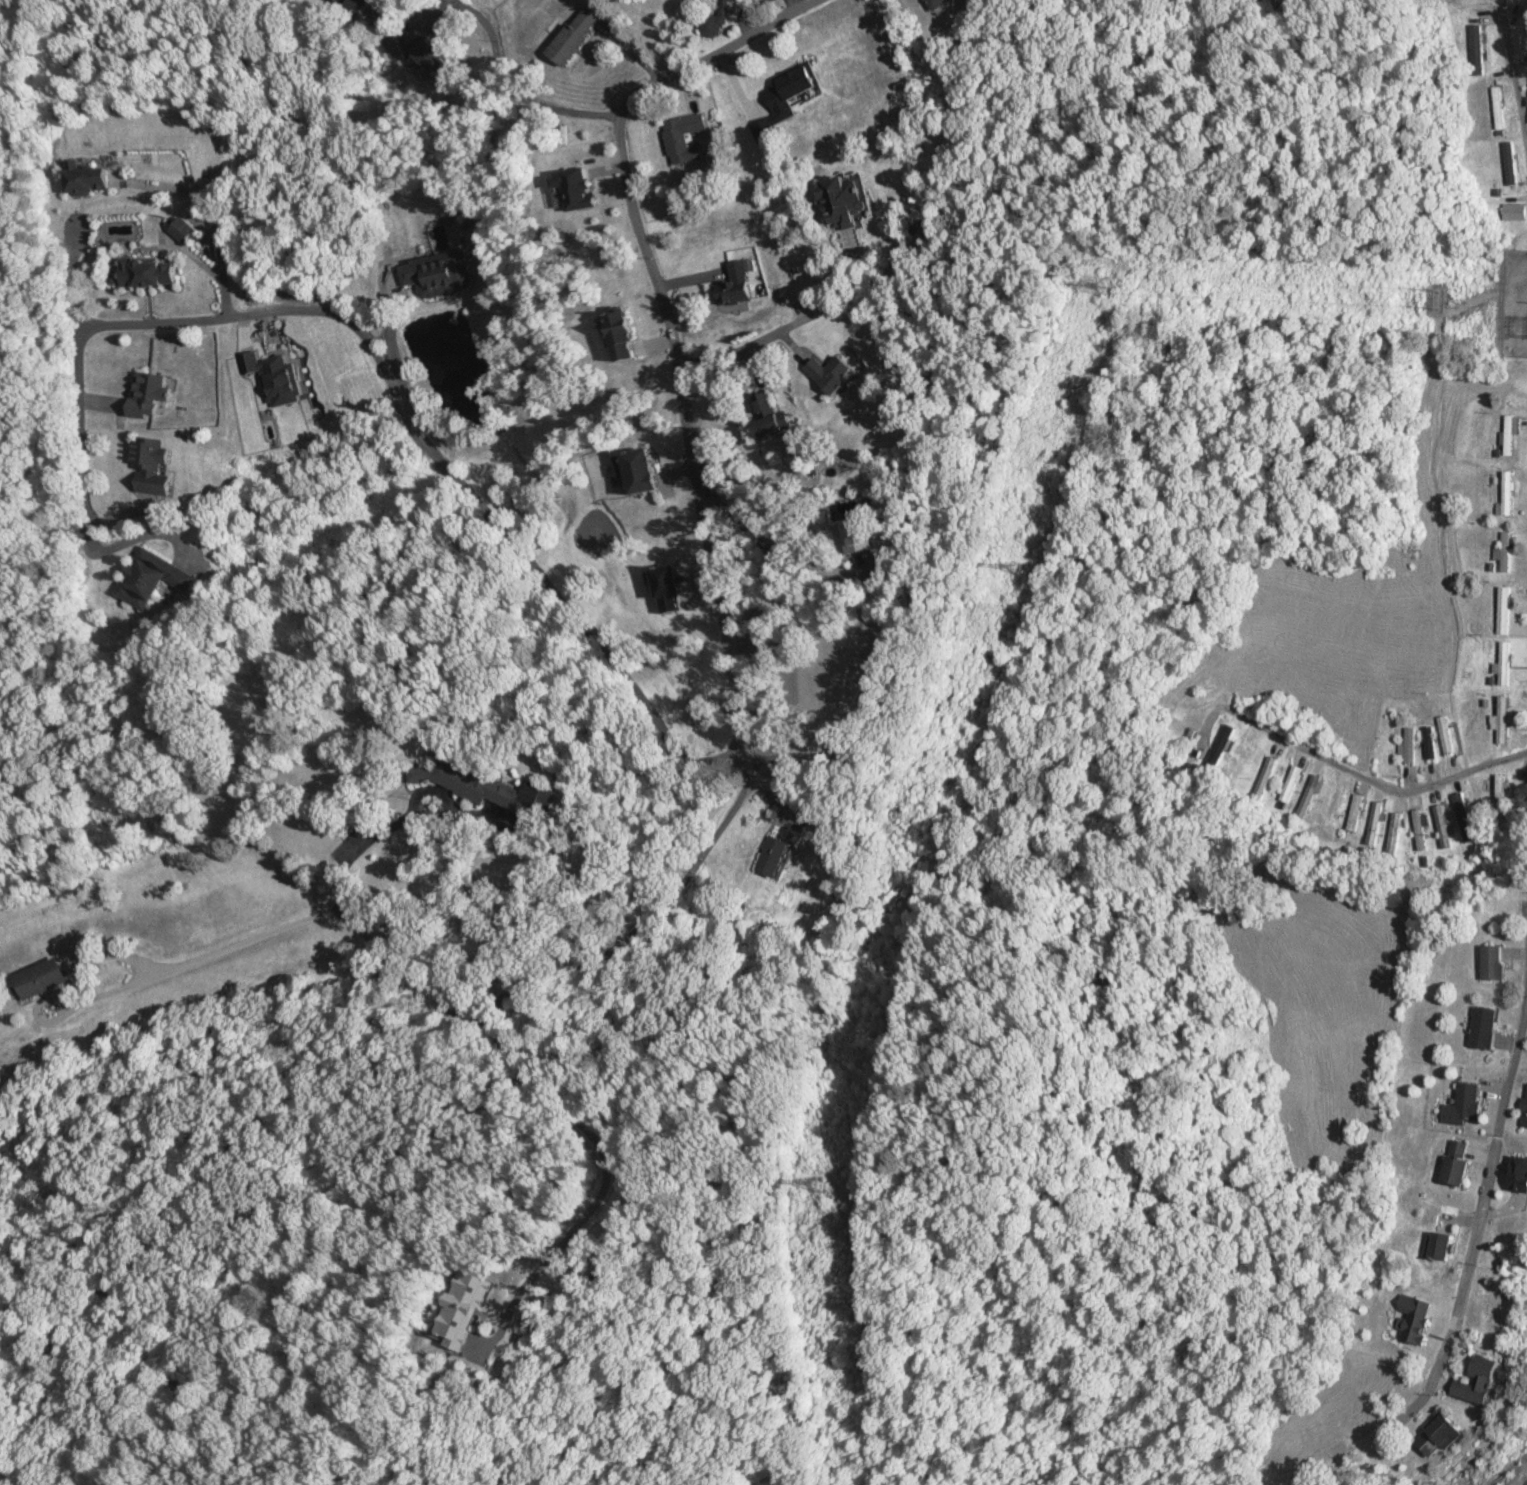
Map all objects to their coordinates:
building: (729, 0)
building: (935, 3)
building: (352, 7)
building: (711, 24)
building: (574, 36)
building: (1475, 47)
road: (1514, 74)
road: (513, 88)
building: (782, 100)
building: (1496, 107)
building: (683, 138)
building: (1511, 166)
building: (84, 179)
building: (572, 188)
building: (841, 202)
building: (1513, 211)
building: (145, 273)
building: (437, 274)
road: (76, 275)
building: (738, 282)
building: (619, 336)
road: (735, 349)
road: (384, 372)
building: (830, 374)
building: (274, 377)
building: (149, 394)
building: (767, 417)
building: (1508, 435)
building: (150, 465)
building: (639, 472)
building: (1505, 495)
building: (852, 535)
building: (1504, 551)
building: (150, 578)
building: (666, 589)
road: (716, 599)
building: (1503, 608)
building: (1503, 662)
building: (1500, 720)
building: (1445, 734)
building: (1428, 739)
building: (1409, 745)
building: (1220, 750)
building: (1240, 763)
building: (1290, 783)
road: (1369, 783)
building: (476, 786)
building: (1501, 788)
building: (1355, 812)
building: (1466, 821)
building: (1375, 823)
building: (1443, 825)
building: (1419, 829)
building: (1394, 833)
building: (774, 854)
building: (1491, 962)
building: (38, 979)
building: (1482, 1026)
building: (1462, 1104)
building: (1524, 1110)
building: (1455, 1162)
building: (1519, 1173)
road: (1481, 1197)
building: (1439, 1244)
building: (460, 1308)
building: (1413, 1316)
building: (1477, 1380)
building: (1438, 1435)

